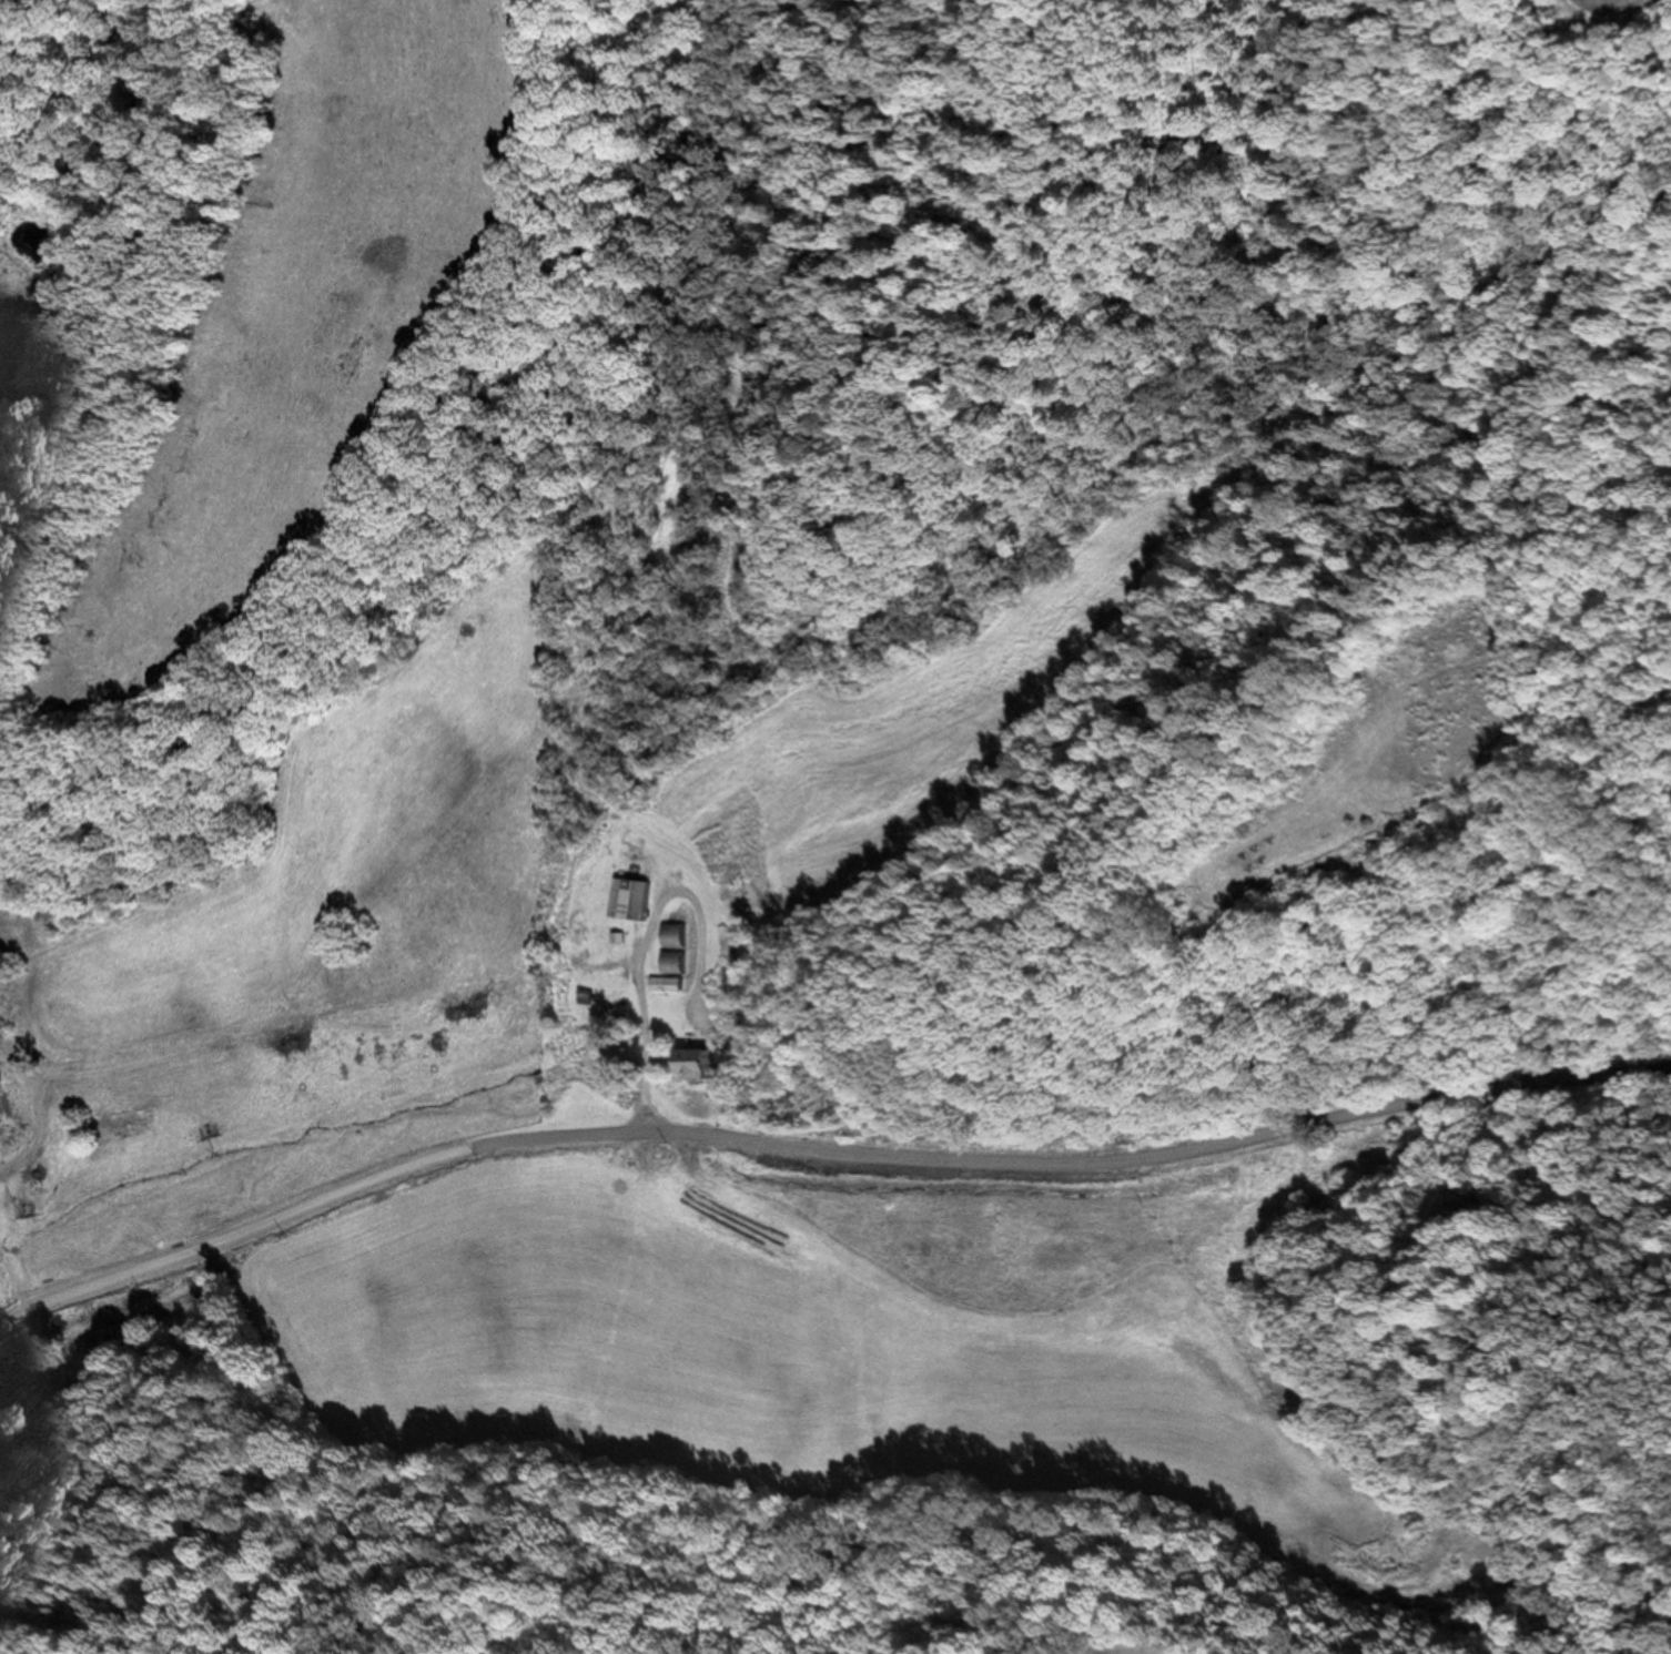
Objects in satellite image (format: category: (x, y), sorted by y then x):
building: (632, 902)
building: (674, 938)
building: (672, 965)
building: (666, 986)
building: (700, 1067)
building: (108, 1129)
road: (823, 1151)
building: (665, 1160)

